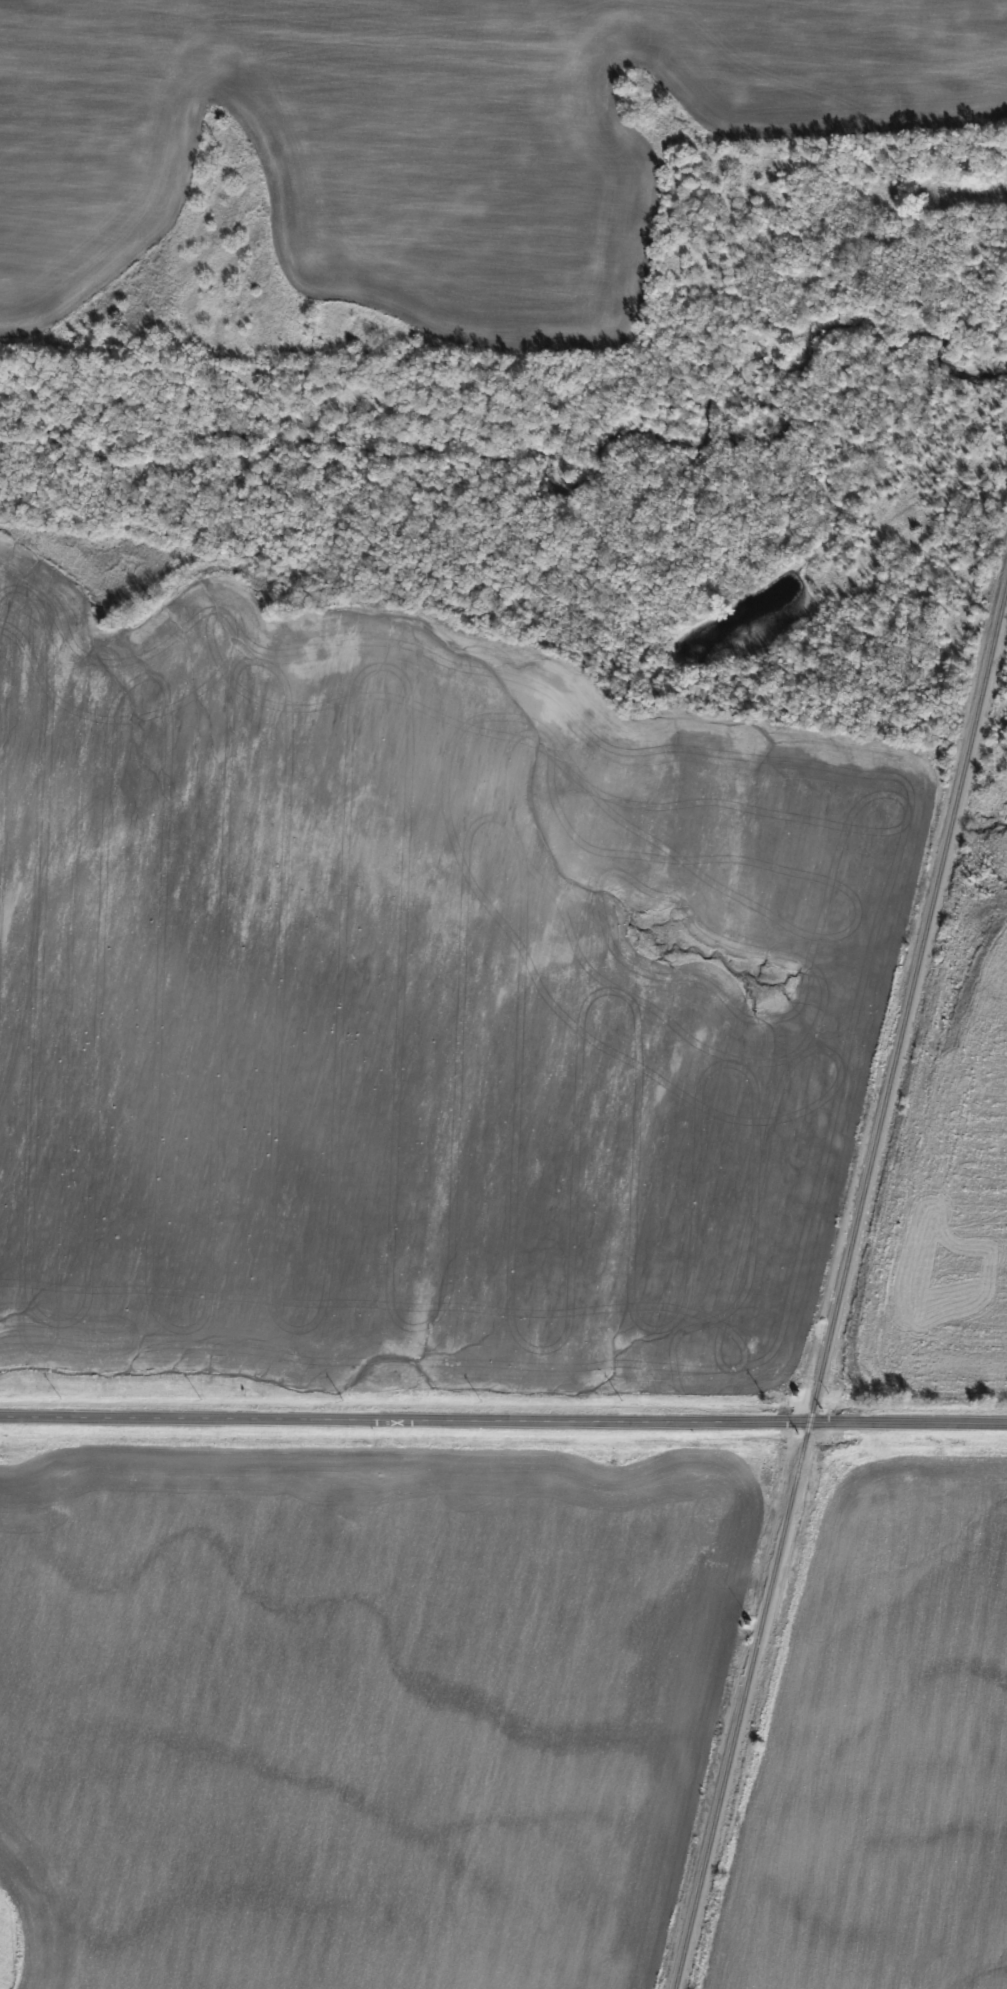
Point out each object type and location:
crop: (410, 1002)
railway: (839, 1289)
road: (503, 1421)

